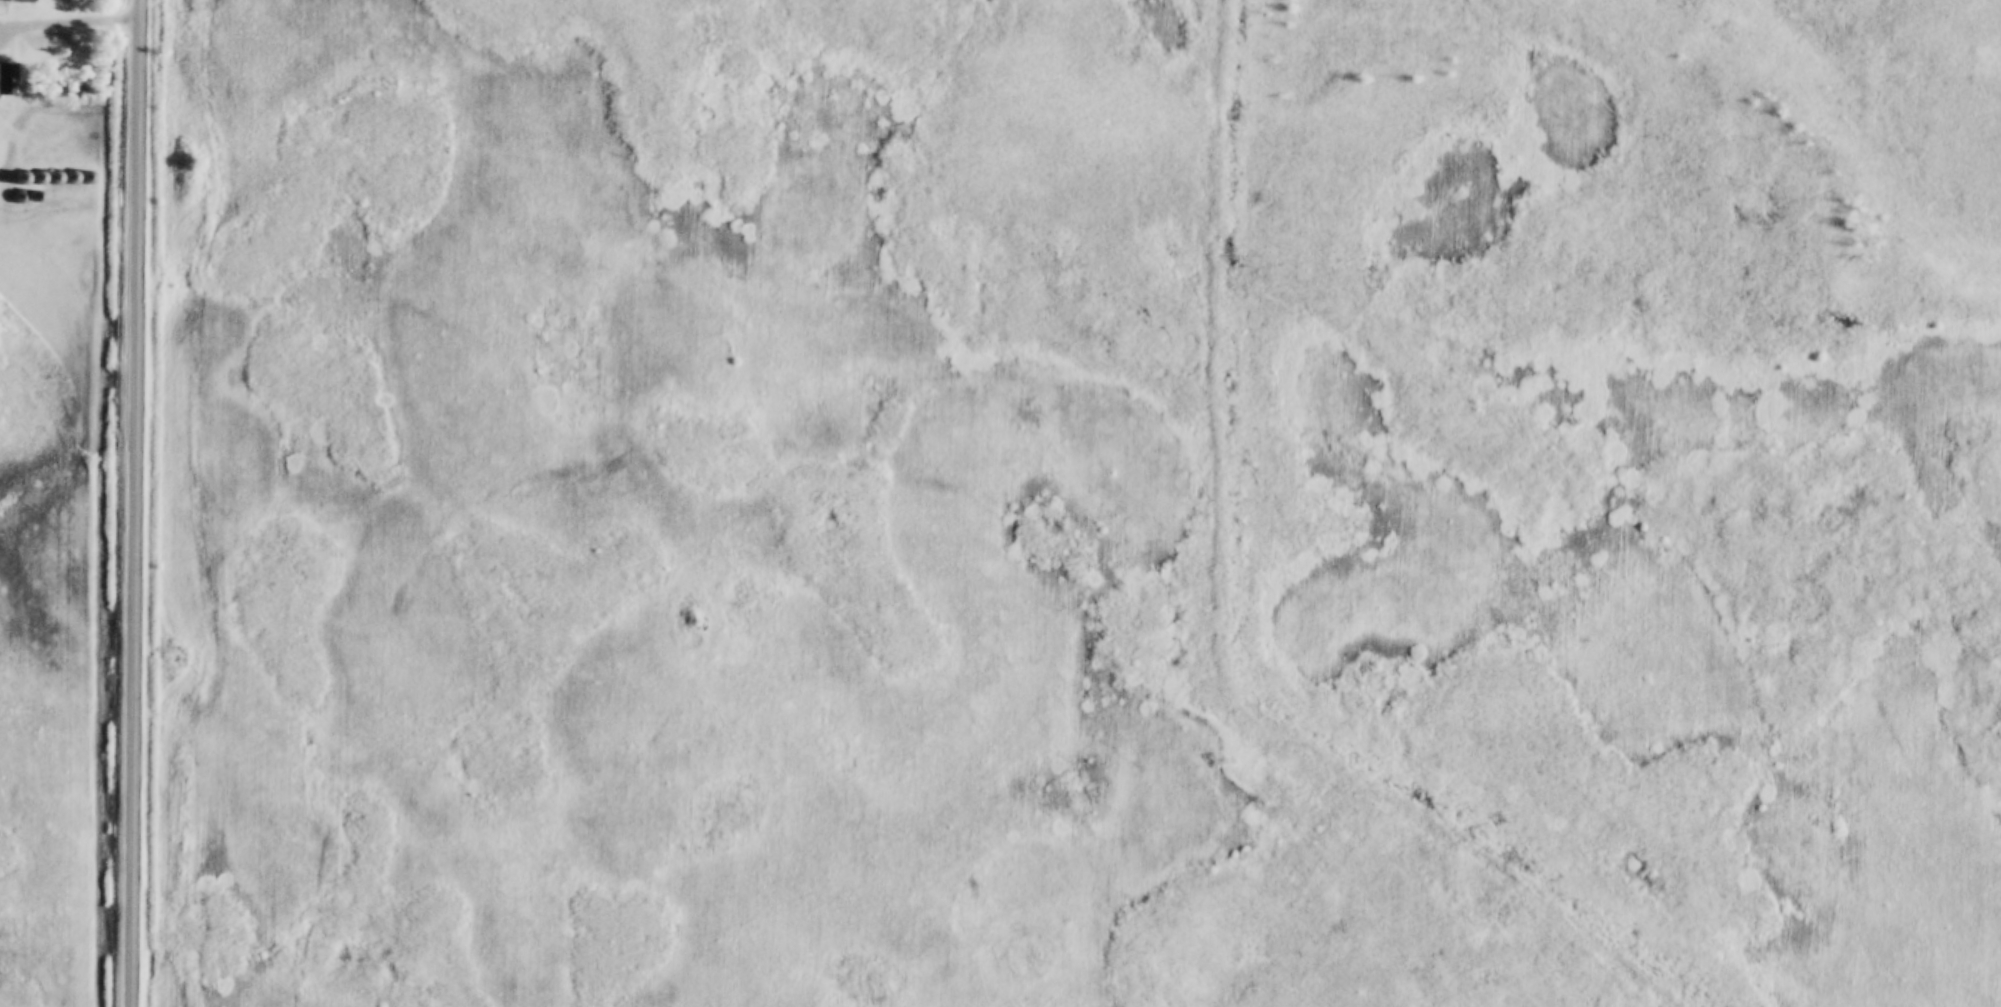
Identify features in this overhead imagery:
building: (21, 1)
road: (72, 21)
building: (7, 79)
road: (141, 503)

